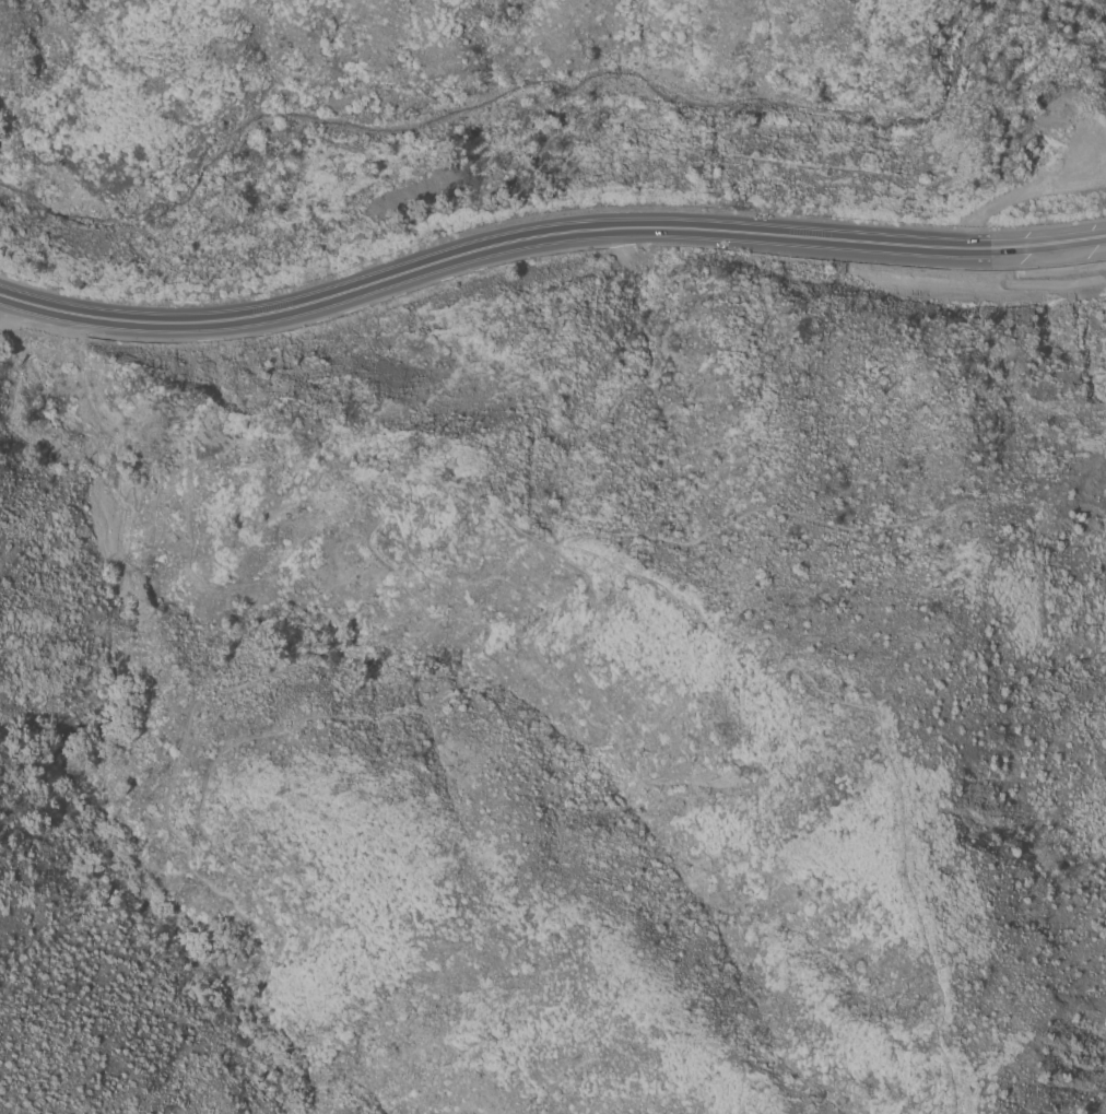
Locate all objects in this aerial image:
road: (555, 233)
road: (908, 244)
road: (204, 323)
parking lot: (37, 330)
road: (423, 707)
road: (875, 742)

